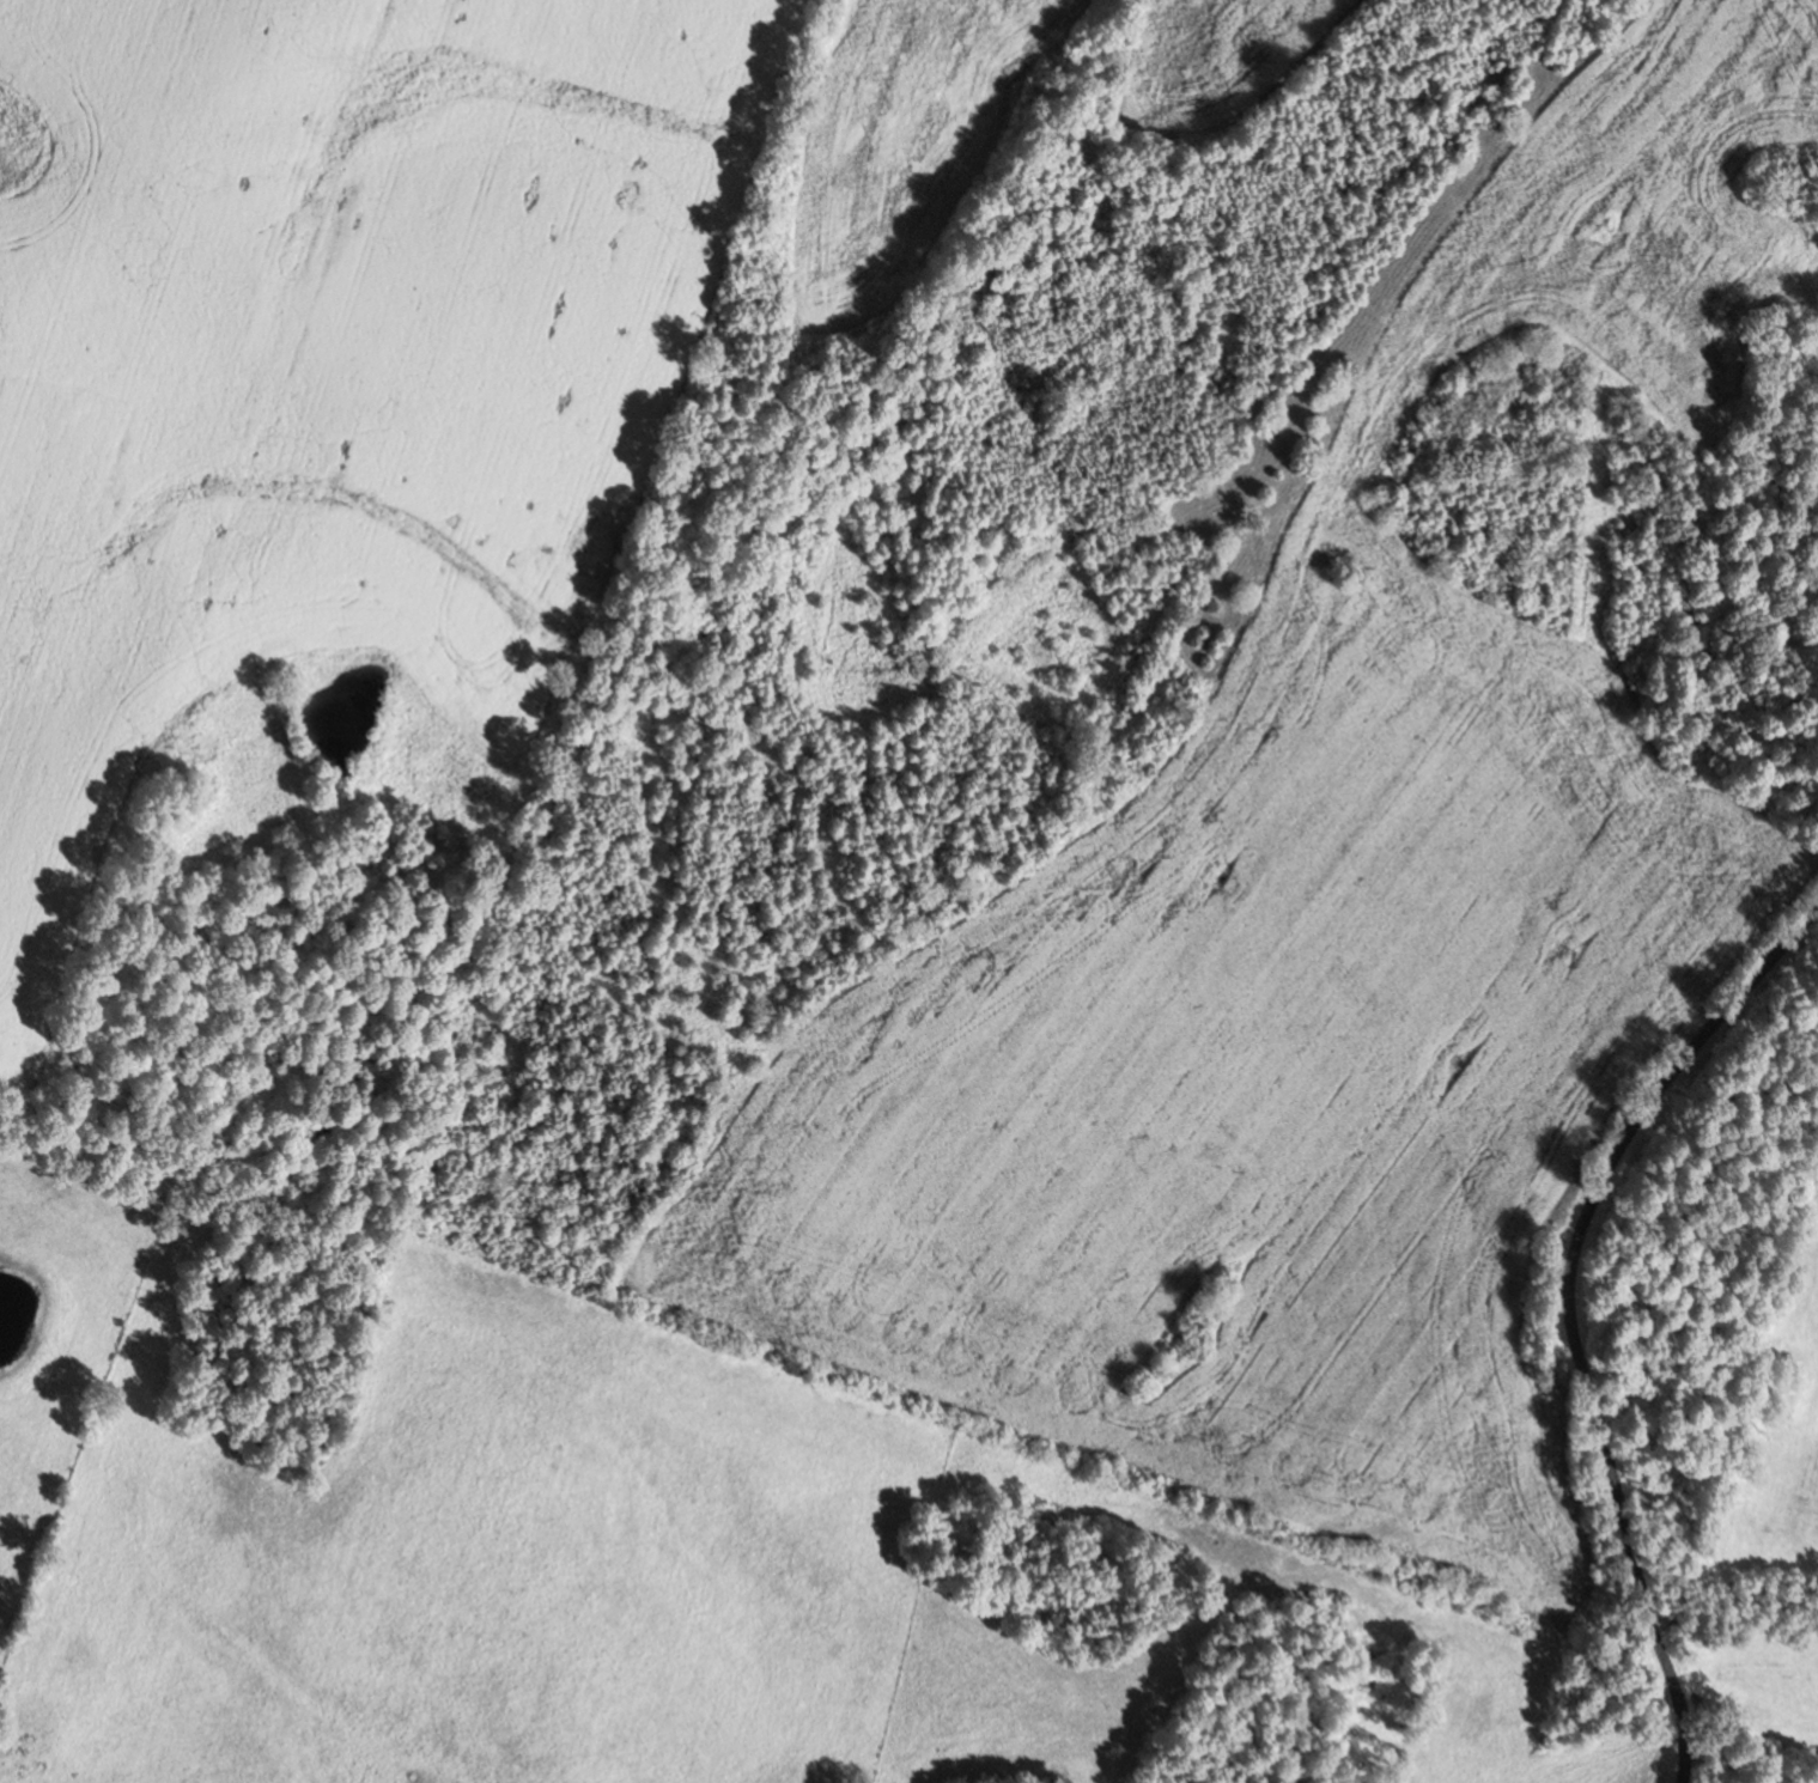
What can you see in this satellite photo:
road: (1568, 1310)

